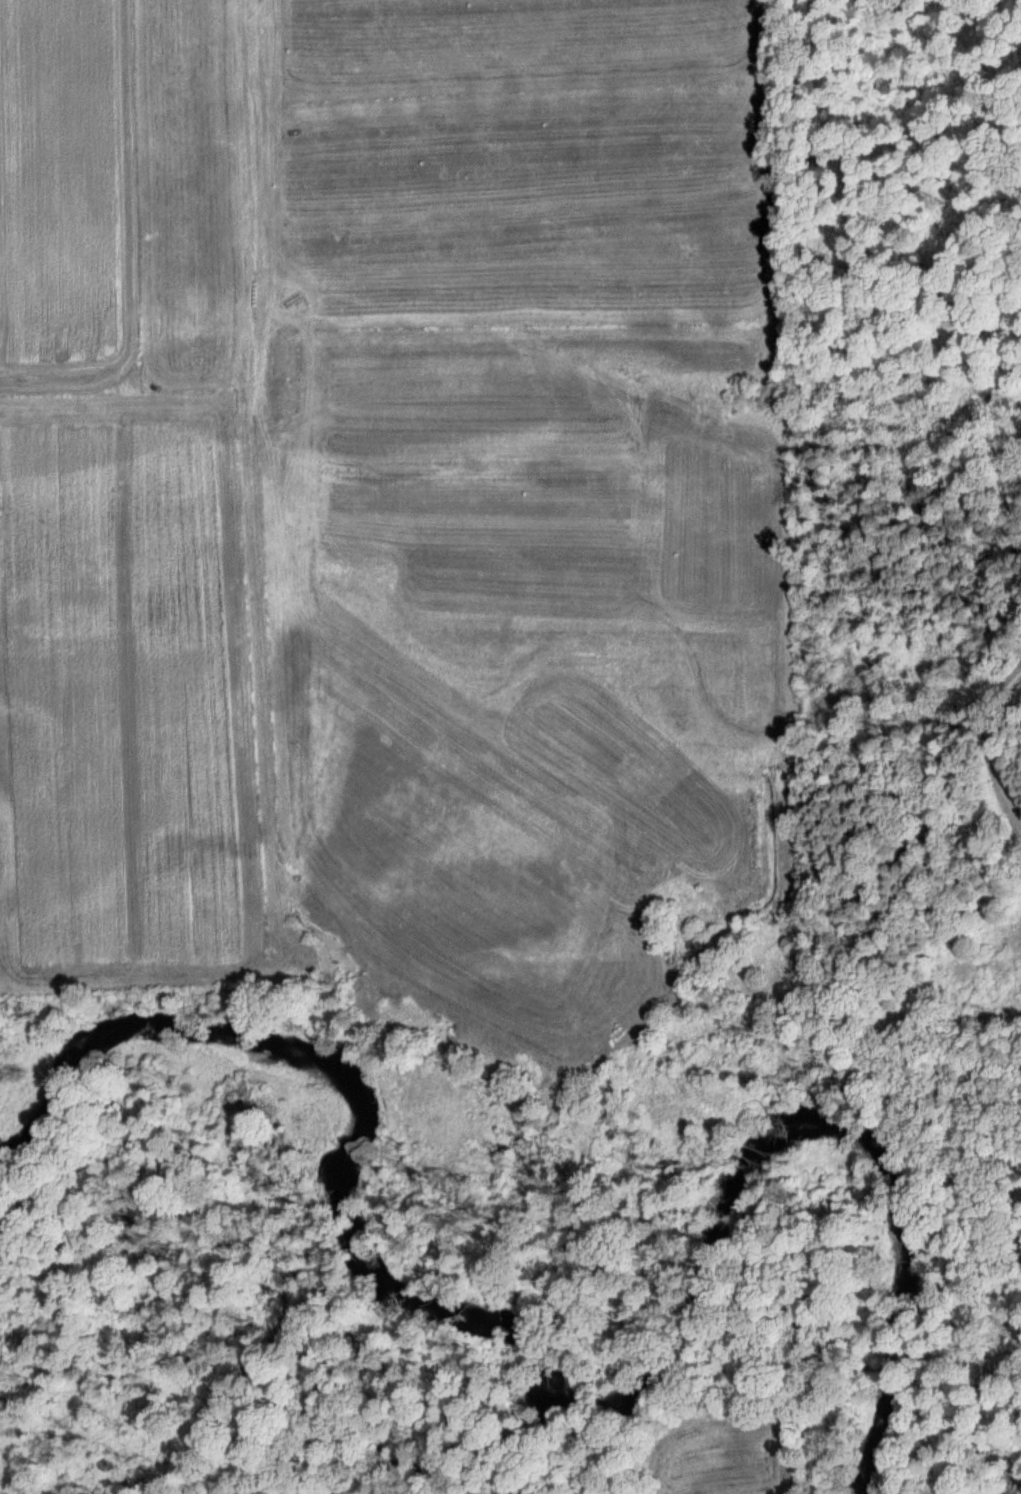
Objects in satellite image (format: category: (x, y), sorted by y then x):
road: (999, 747)

